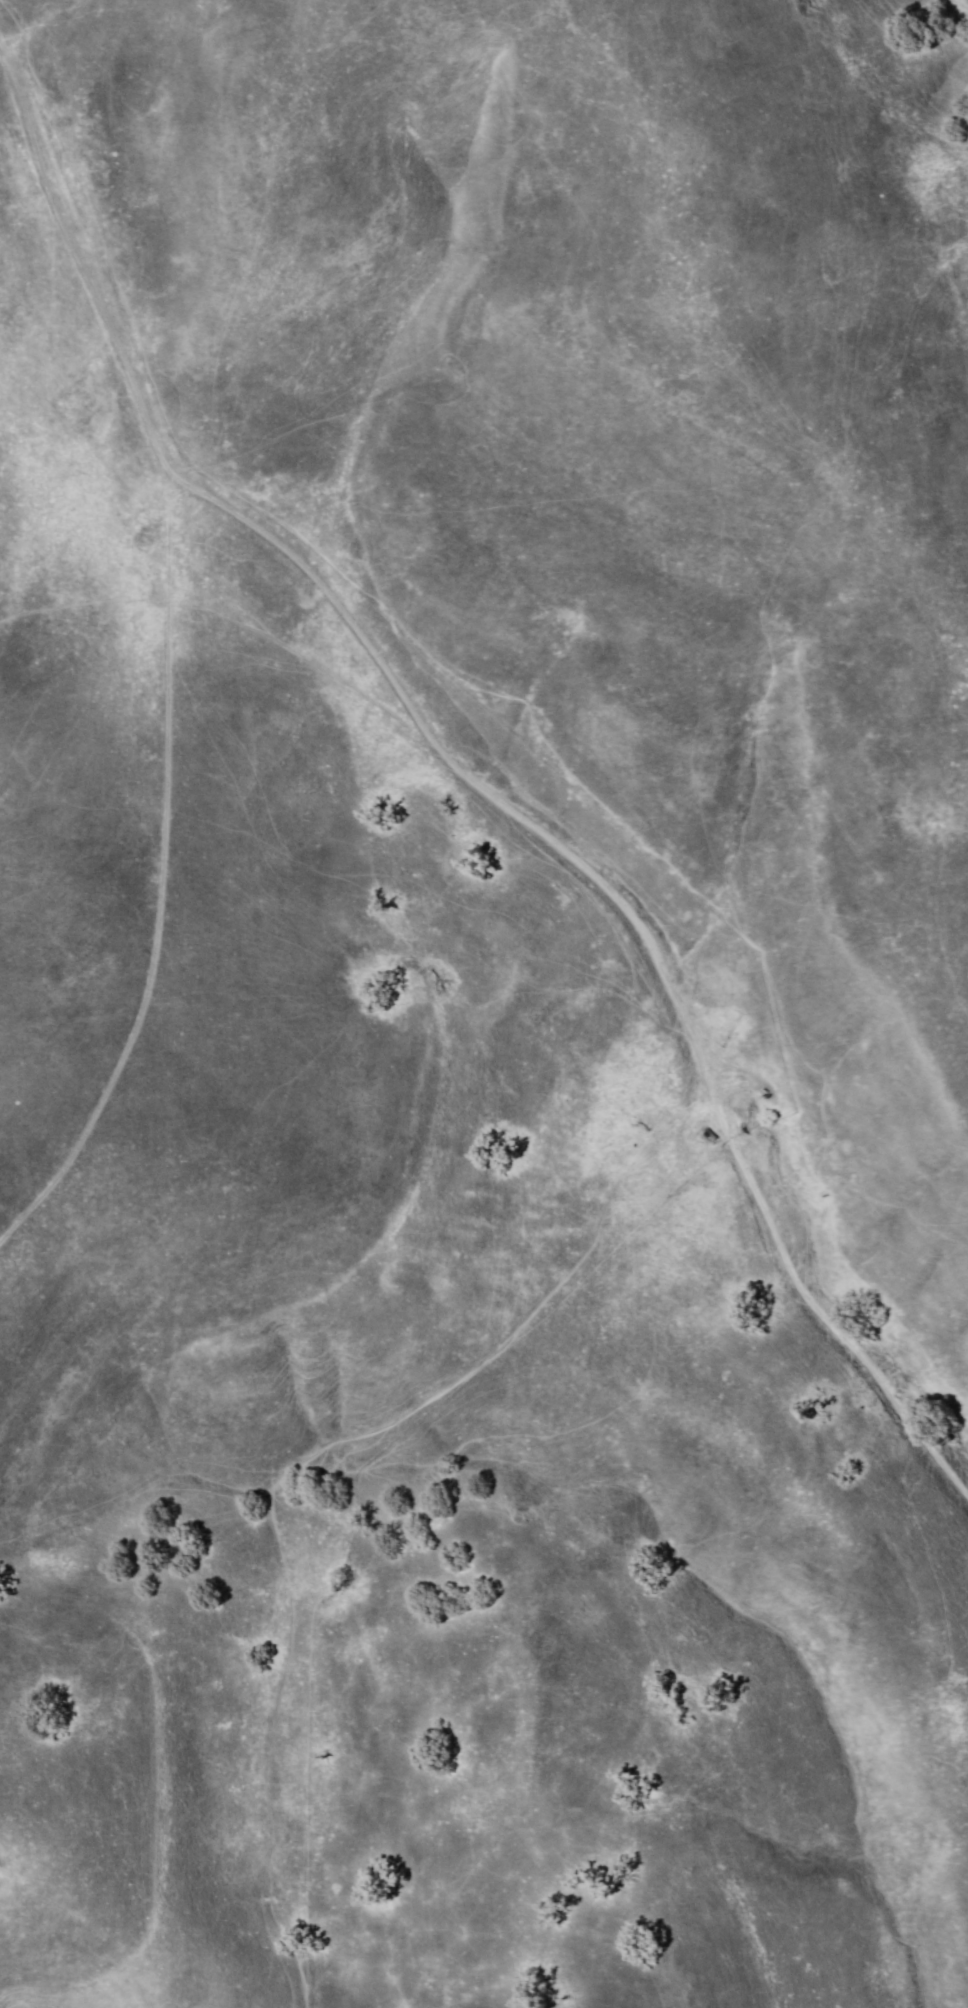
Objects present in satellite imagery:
road: (473, 783)

